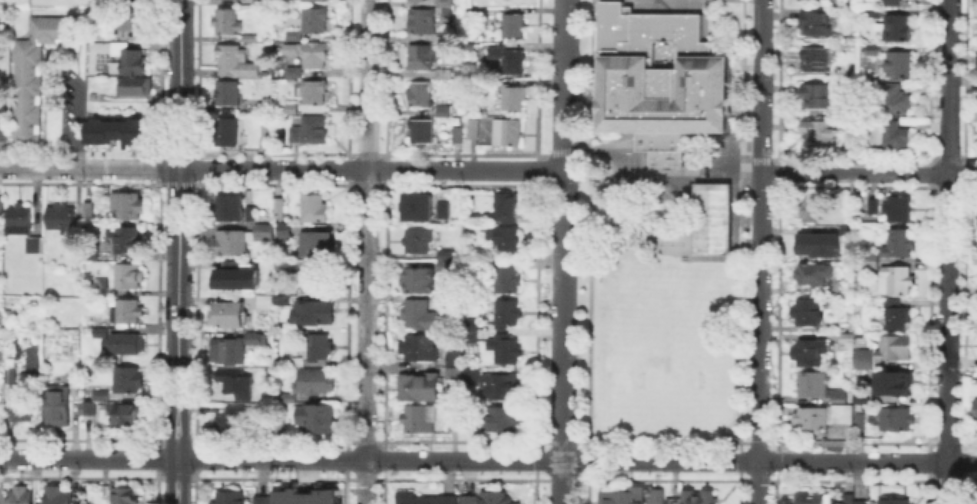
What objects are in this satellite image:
building: (254, 0)
building: (408, 0)
building: (314, 1)
building: (417, 1)
building: (263, 2)
building: (445, 2)
building: (892, 3)
building: (871, 14)
building: (132, 18)
building: (228, 21)
building: (317, 21)
building: (422, 22)
building: (816, 25)
building: (512, 27)
building: (899, 28)
building: (114, 32)
building: (291, 34)
building: (445, 37)
building: (250, 39)
building: (873, 52)
building: (316, 54)
building: (423, 57)
building: (509, 60)
building: (816, 61)
building: (129, 63)
building: (236, 63)
building: (899, 66)
road: (759, 68)
building: (293, 72)
building: (36, 75)
building: (445, 75)
building: (662, 80)
road: (178, 84)
road: (562, 85)
building: (135, 86)
building: (315, 93)
building: (229, 94)
building: (421, 96)
building: (815, 96)
building: (513, 99)
building: (895, 101)
building: (1, 103)
building: (290, 110)
building: (444, 111)
building: (976, 122)
road: (74, 126)
building: (474, 130)
building: (2, 131)
building: (115, 131)
building: (312, 131)
building: (819, 131)
building: (292, 132)
building: (423, 132)
building: (507, 132)
building: (227, 133)
building: (457, 133)
building: (271, 134)
building: (895, 138)
road: (755, 154)
road: (760, 154)
road: (281, 168)
road: (854, 173)
road: (962, 174)
road: (653, 178)
road: (179, 183)
road: (172, 192)
road: (186, 192)
road: (562, 193)
road: (566, 193)
building: (0, 201)
building: (417, 206)
building: (505, 206)
building: (129, 207)
building: (874, 207)
building: (314, 208)
building: (231, 209)
building: (278, 209)
building: (898, 209)
building: (89, 211)
building: (444, 211)
building: (810, 211)
building: (713, 218)
building: (62, 219)
building: (20, 220)
building: (793, 227)
building: (976, 227)
building: (283, 232)
building: (262, 234)
building: (505, 238)
building: (124, 240)
building: (418, 241)
building: (901, 242)
building: (231, 243)
building: (813, 243)
building: (315, 245)
building: (39, 246)
building: (75, 246)
road: (367, 252)
road: (947, 252)
building: (445, 262)
building: (871, 262)
building: (283, 266)
building: (131, 275)
building: (813, 276)
building: (504, 278)
building: (230, 279)
building: (419, 280)
building: (318, 281)
building: (896, 282)
building: (99, 287)
road: (759, 294)
building: (284, 298)
building: (454, 303)
building: (264, 304)
road: (177, 307)
building: (128, 312)
building: (314, 312)
building: (808, 313)
building: (506, 314)
building: (286, 315)
building: (416, 315)
building: (230, 316)
building: (898, 318)
building: (469, 327)
building: (101, 332)
building: (252, 336)
road: (562, 338)
building: (125, 344)
building: (316, 346)
park: (664, 348)
building: (421, 349)
building: (894, 350)
building: (228, 352)
building: (507, 352)
building: (811, 353)
building: (860, 357)
building: (294, 363)
building: (454, 365)
building: (11, 375)
building: (472, 377)
building: (130, 380)
building: (76, 381)
building: (233, 381)
building: (316, 382)
building: (900, 384)
building: (813, 385)
building: (504, 388)
building: (420, 389)
building: (98, 393)
building: (839, 397)
building: (286, 398)
building: (24, 404)
building: (84, 406)
building: (58, 407)
building: (974, 409)
building: (126, 413)
building: (844, 416)
building: (862, 419)
building: (230, 420)
building: (317, 420)
building: (418, 420)
building: (810, 421)
building: (898, 421)
building: (506, 422)
building: (476, 423)
building: (455, 424)
building: (275, 428)
road: (750, 437)
road: (757, 438)
road: (177, 441)
road: (170, 450)
road: (185, 450)
road: (280, 460)
road: (659, 460)
road: (852, 460)
road: (962, 460)
road: (177, 476)
road: (560, 482)
road: (757, 482)
building: (57, 494)
building: (21, 495)
building: (126, 496)
building: (303, 496)
building: (232, 497)
building: (657, 497)
building: (811, 497)
building: (493, 498)
building: (622, 498)
building: (700, 498)
building: (424, 499)
building: (849, 499)
building: (976, 499)
building: (261, 500)
building: (469, 500)
building: (897, 502)
building: (862, 503)

